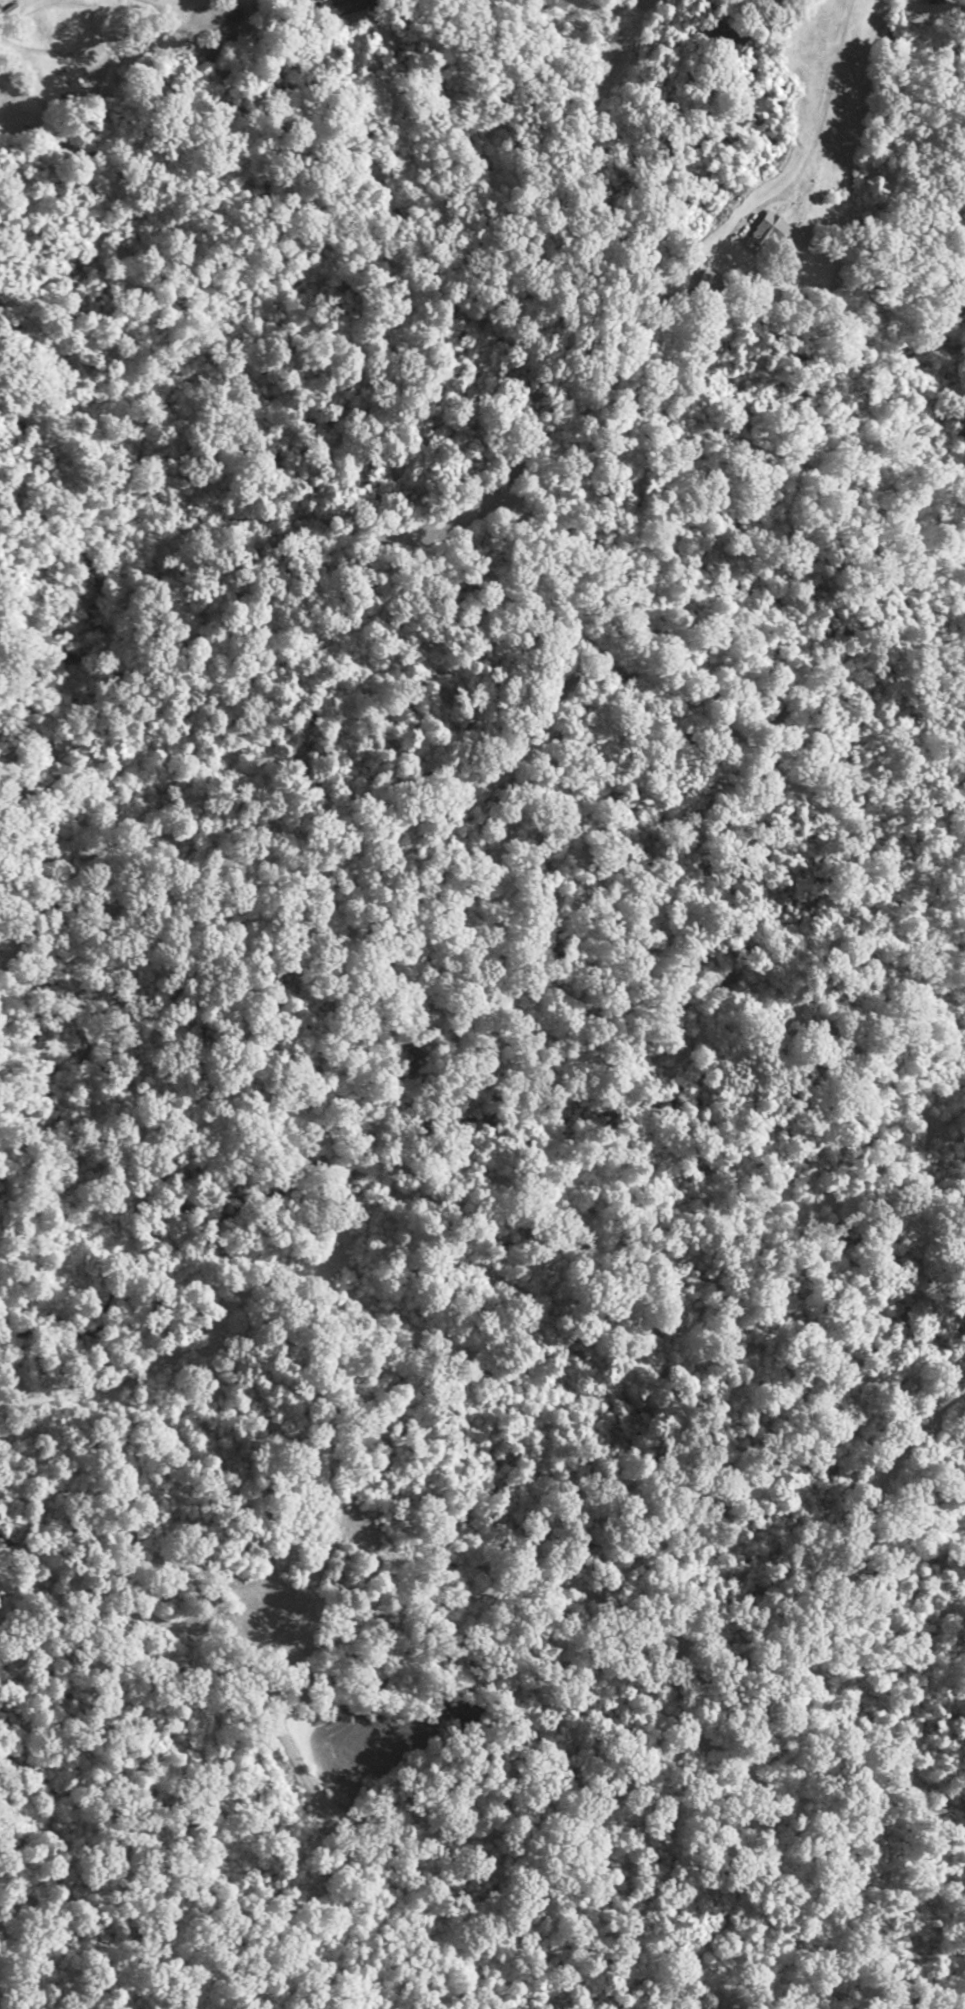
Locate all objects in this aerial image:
building: (338, 7)
road: (600, 74)
building: (702, 286)

